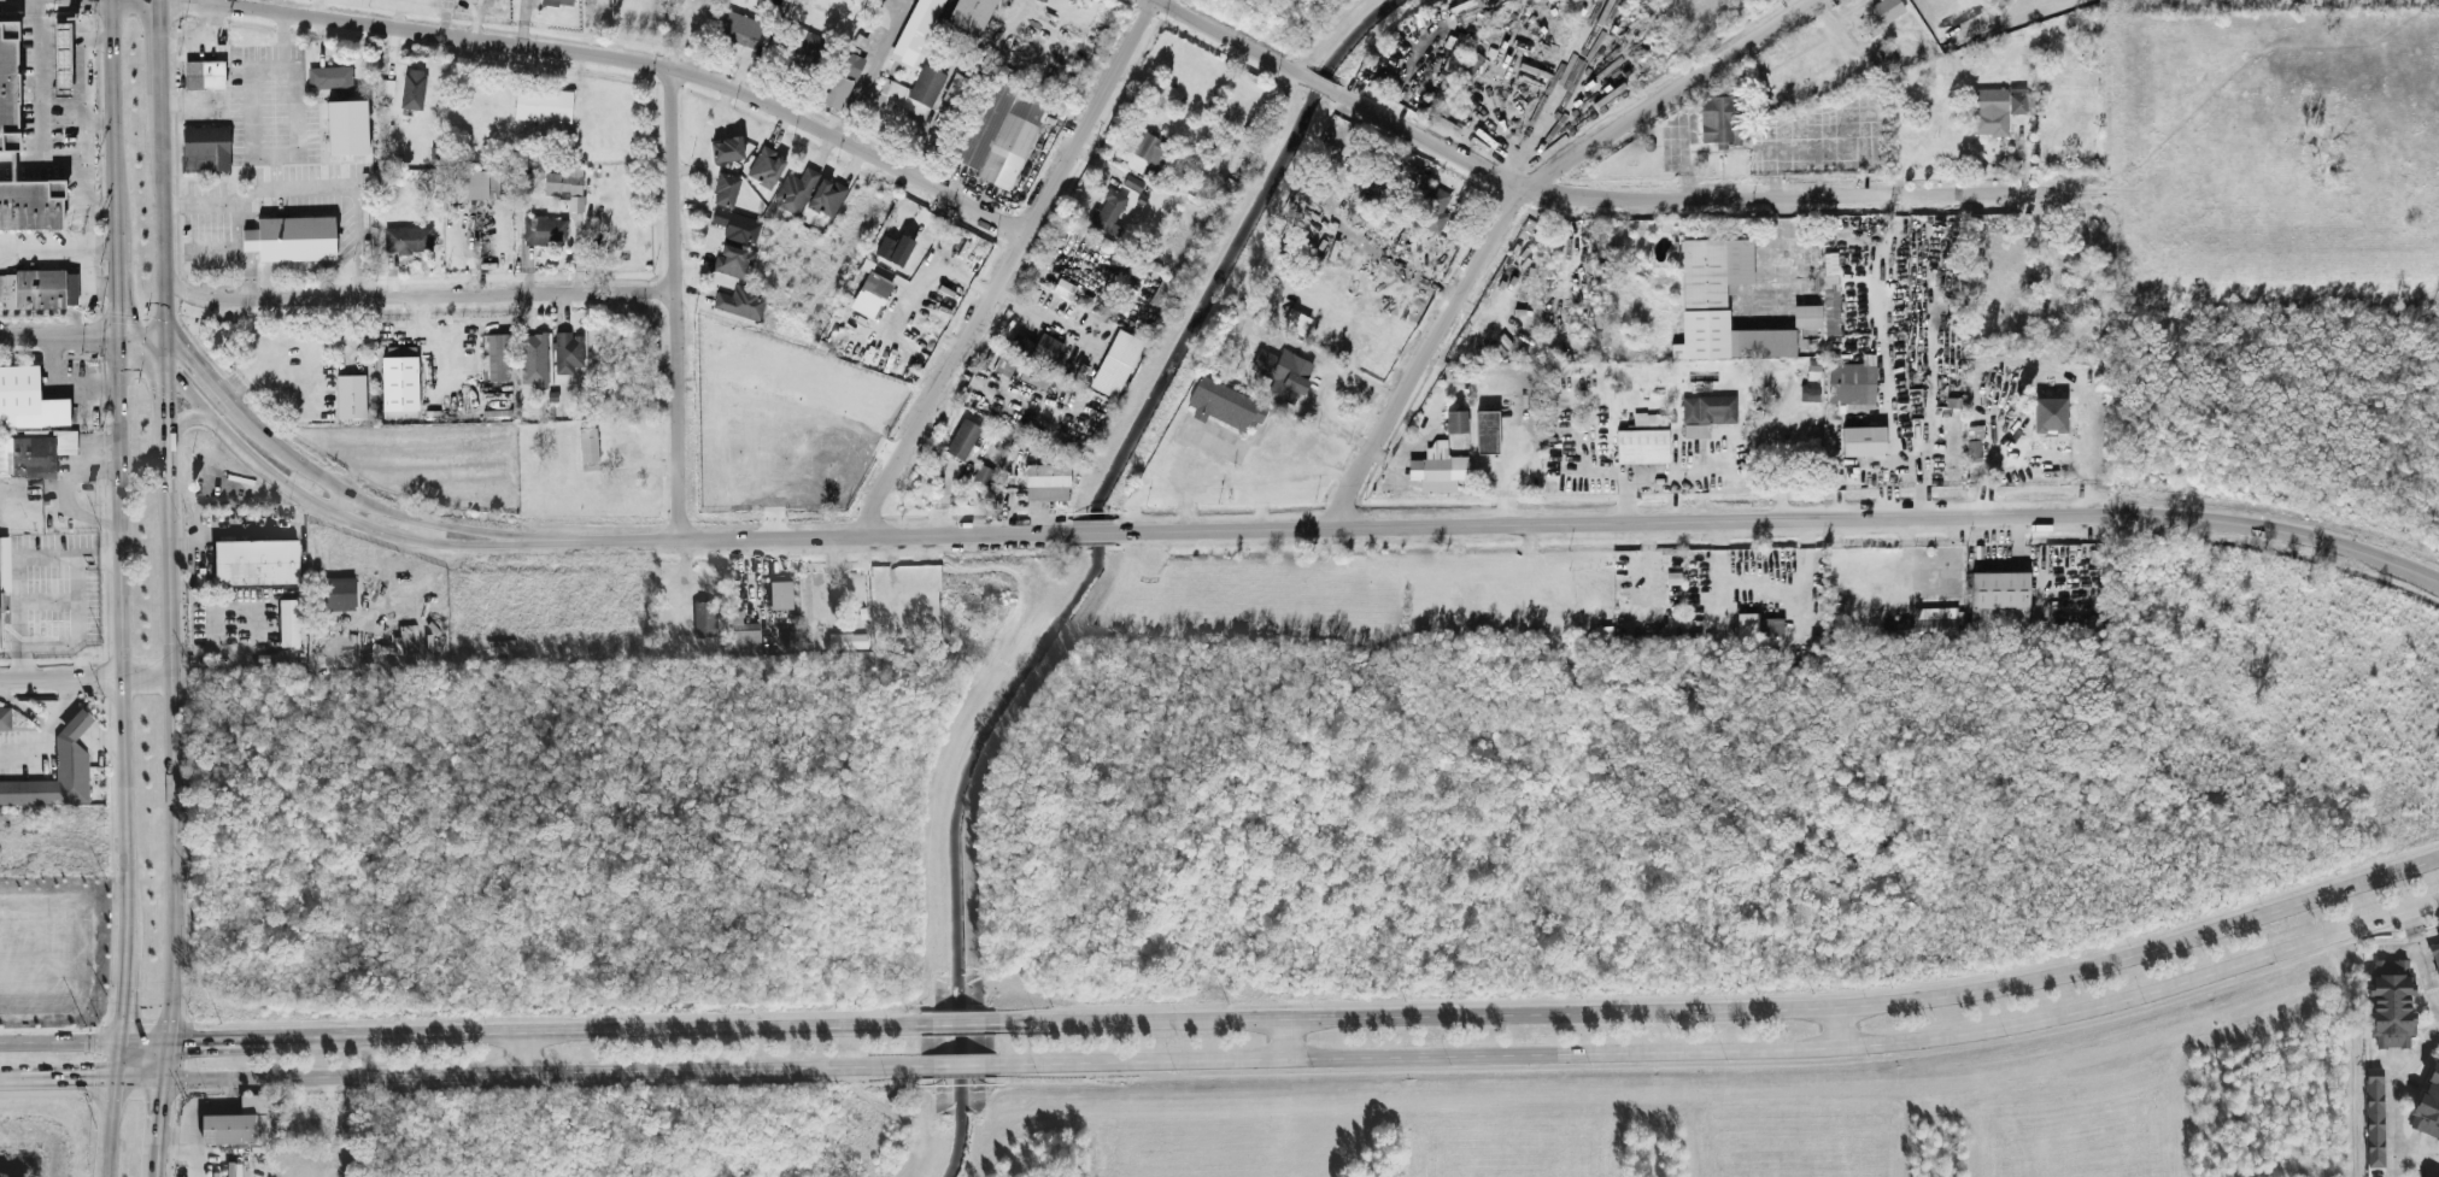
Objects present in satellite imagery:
road: (203, 0)
building: (558, 1)
wastewater plant: (2262, 5)
building: (1886, 10)
building: (971, 13)
building: (738, 28)
building: (915, 30)
road: (1233, 40)
building: (805, 47)
building: (1884, 55)
building: (61, 58)
road: (627, 58)
road: (162, 61)
building: (851, 64)
building: (203, 73)
building: (329, 75)
building: (926, 83)
building: (8, 84)
road: (1319, 84)
building: (383, 86)
building: (411, 87)
building: (955, 88)
building: (1720, 89)
building: (837, 90)
building: (2019, 99)
building: (541, 104)
road: (28, 110)
building: (1988, 110)
road: (111, 116)
building: (1719, 119)
road: (80, 122)
road: (96, 124)
building: (346, 125)
building: (1001, 130)
road: (295, 139)
building: (204, 147)
building: (726, 148)
road: (252, 152)
road: (4, 159)
building: (766, 166)
building: (1411, 176)
building: (468, 182)
building: (492, 182)
building: (565, 184)
road: (311, 186)
building: (725, 189)
building: (795, 189)
building: (826, 195)
building: (1434, 199)
road: (1699, 200)
building: (31, 204)
road: (1511, 207)
building: (1108, 212)
building: (735, 224)
building: (544, 229)
road: (164, 234)
building: (289, 236)
building: (406, 239)
road: (57, 248)
building: (899, 249)
building: (732, 259)
road: (1005, 267)
road: (115, 282)
road: (174, 283)
building: (37, 288)
road: (545, 290)
building: (869, 294)
road: (312, 296)
road: (673, 301)
building: (739, 301)
building: (1719, 301)
building: (1829, 304)
building: (1805, 314)
road: (58, 332)
traffic signals: (116, 332)
road: (423, 335)
road: (141, 337)
traffic signals: (168, 343)
building: (1037, 345)
building: (567, 351)
building: (497, 355)
road: (2045, 355)
road: (168, 358)
building: (533, 358)
building: (1003, 361)
building: (1114, 361)
building: (1282, 371)
traffic signals: (168, 372)
building: (1034, 372)
building: (1851, 381)
road: (59, 382)
building: (399, 386)
building: (350, 395)
building: (28, 399)
building: (1223, 402)
road: (168, 408)
building: (1705, 412)
building: (2047, 414)
building: (1454, 419)
building: (1485, 430)
building: (961, 437)
road: (1223, 439)
building: (1642, 439)
building: (1862, 439)
building: (587, 443)
building: (1971, 448)
building: (34, 453)
building: (1437, 466)
building: (983, 472)
building: (1046, 481)
road: (329, 482)
road: (69, 488)
road: (299, 495)
road: (339, 502)
road: (1780, 519)
road: (246, 532)
road: (1092, 532)
road: (803, 537)
road: (99, 558)
building: (258, 564)
building: (4, 582)
building: (1673, 585)
road: (19, 589)
building: (342, 595)
building: (782, 596)
road: (122, 619)
building: (1936, 619)
building: (707, 620)
building: (291, 623)
building: (1771, 625)
road: (250, 626)
road: (77, 630)
building: (745, 637)
building: (849, 642)
road: (86, 677)
road: (69, 710)
building: (5, 719)
road: (81, 723)
road: (48, 736)
road: (104, 741)
road: (174, 743)
building: (58, 773)
building: (2438, 937)
building: (2435, 957)
road: (2422, 960)
road: (123, 994)
building: (2392, 1005)
road: (1726, 1010)
road: (2438, 1010)
traffic signals: (119, 1019)
road: (956, 1025)
road: (1835, 1028)
road: (574, 1034)
road: (1286, 1040)
road: (171, 1041)
traffic signals: (190, 1041)
road: (57, 1042)
road: (1728, 1053)
road: (524, 1054)
road: (958, 1067)
road: (540, 1073)
traffic signals: (88, 1081)
road: (89, 1081)
road: (8, 1082)
road: (2394, 1096)
traffic signals: (159, 1101)
building: (2428, 1107)
road: (158, 1110)
road: (195, 1113)
building: (2375, 1119)
building: (241, 1124)
road: (109, 1128)
road: (334, 1128)
road: (2394, 1166)

